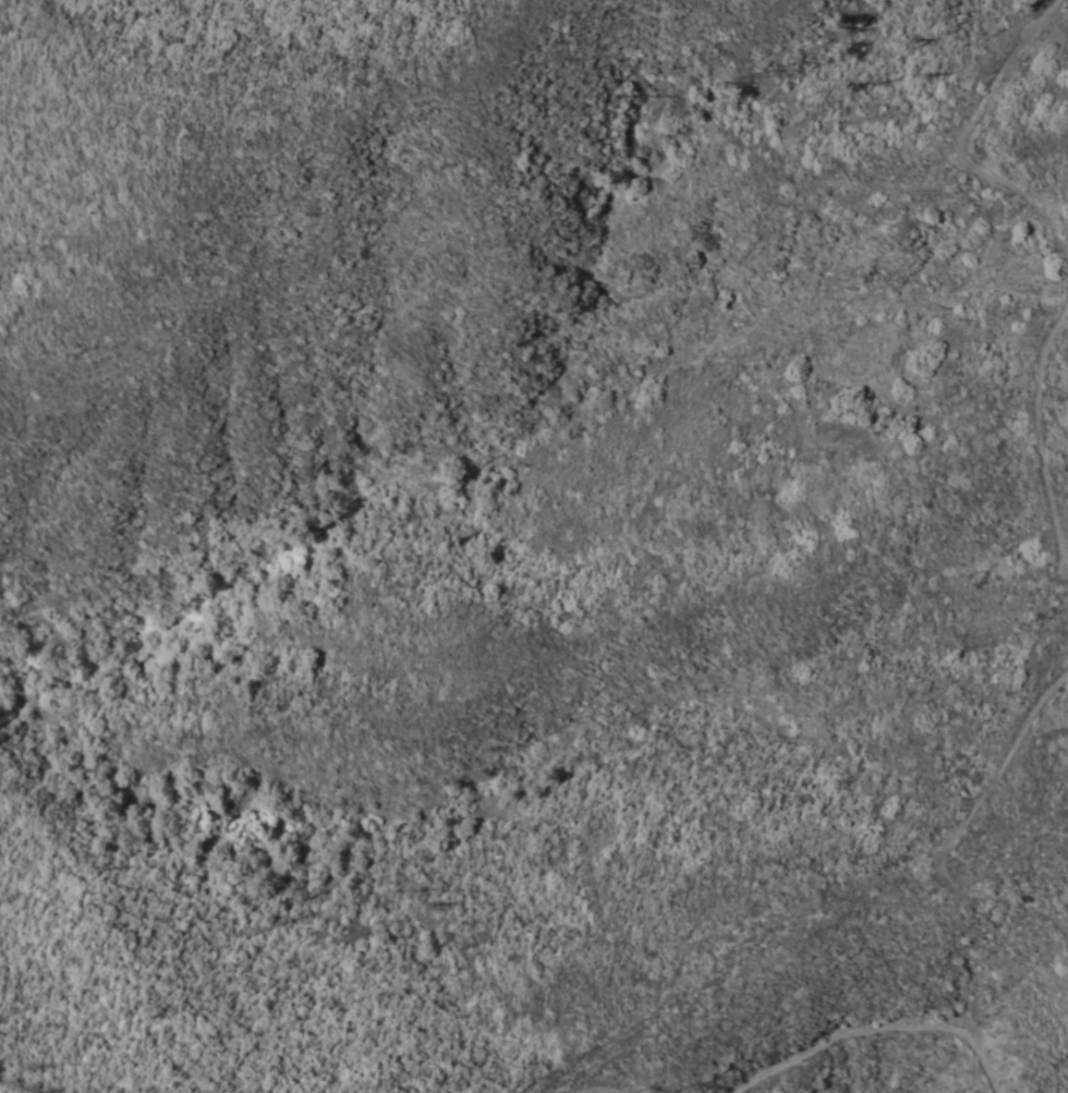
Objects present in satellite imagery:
road: (976, 125)
road: (1043, 426)
road: (950, 830)
road: (883, 1029)
road: (602, 1086)

